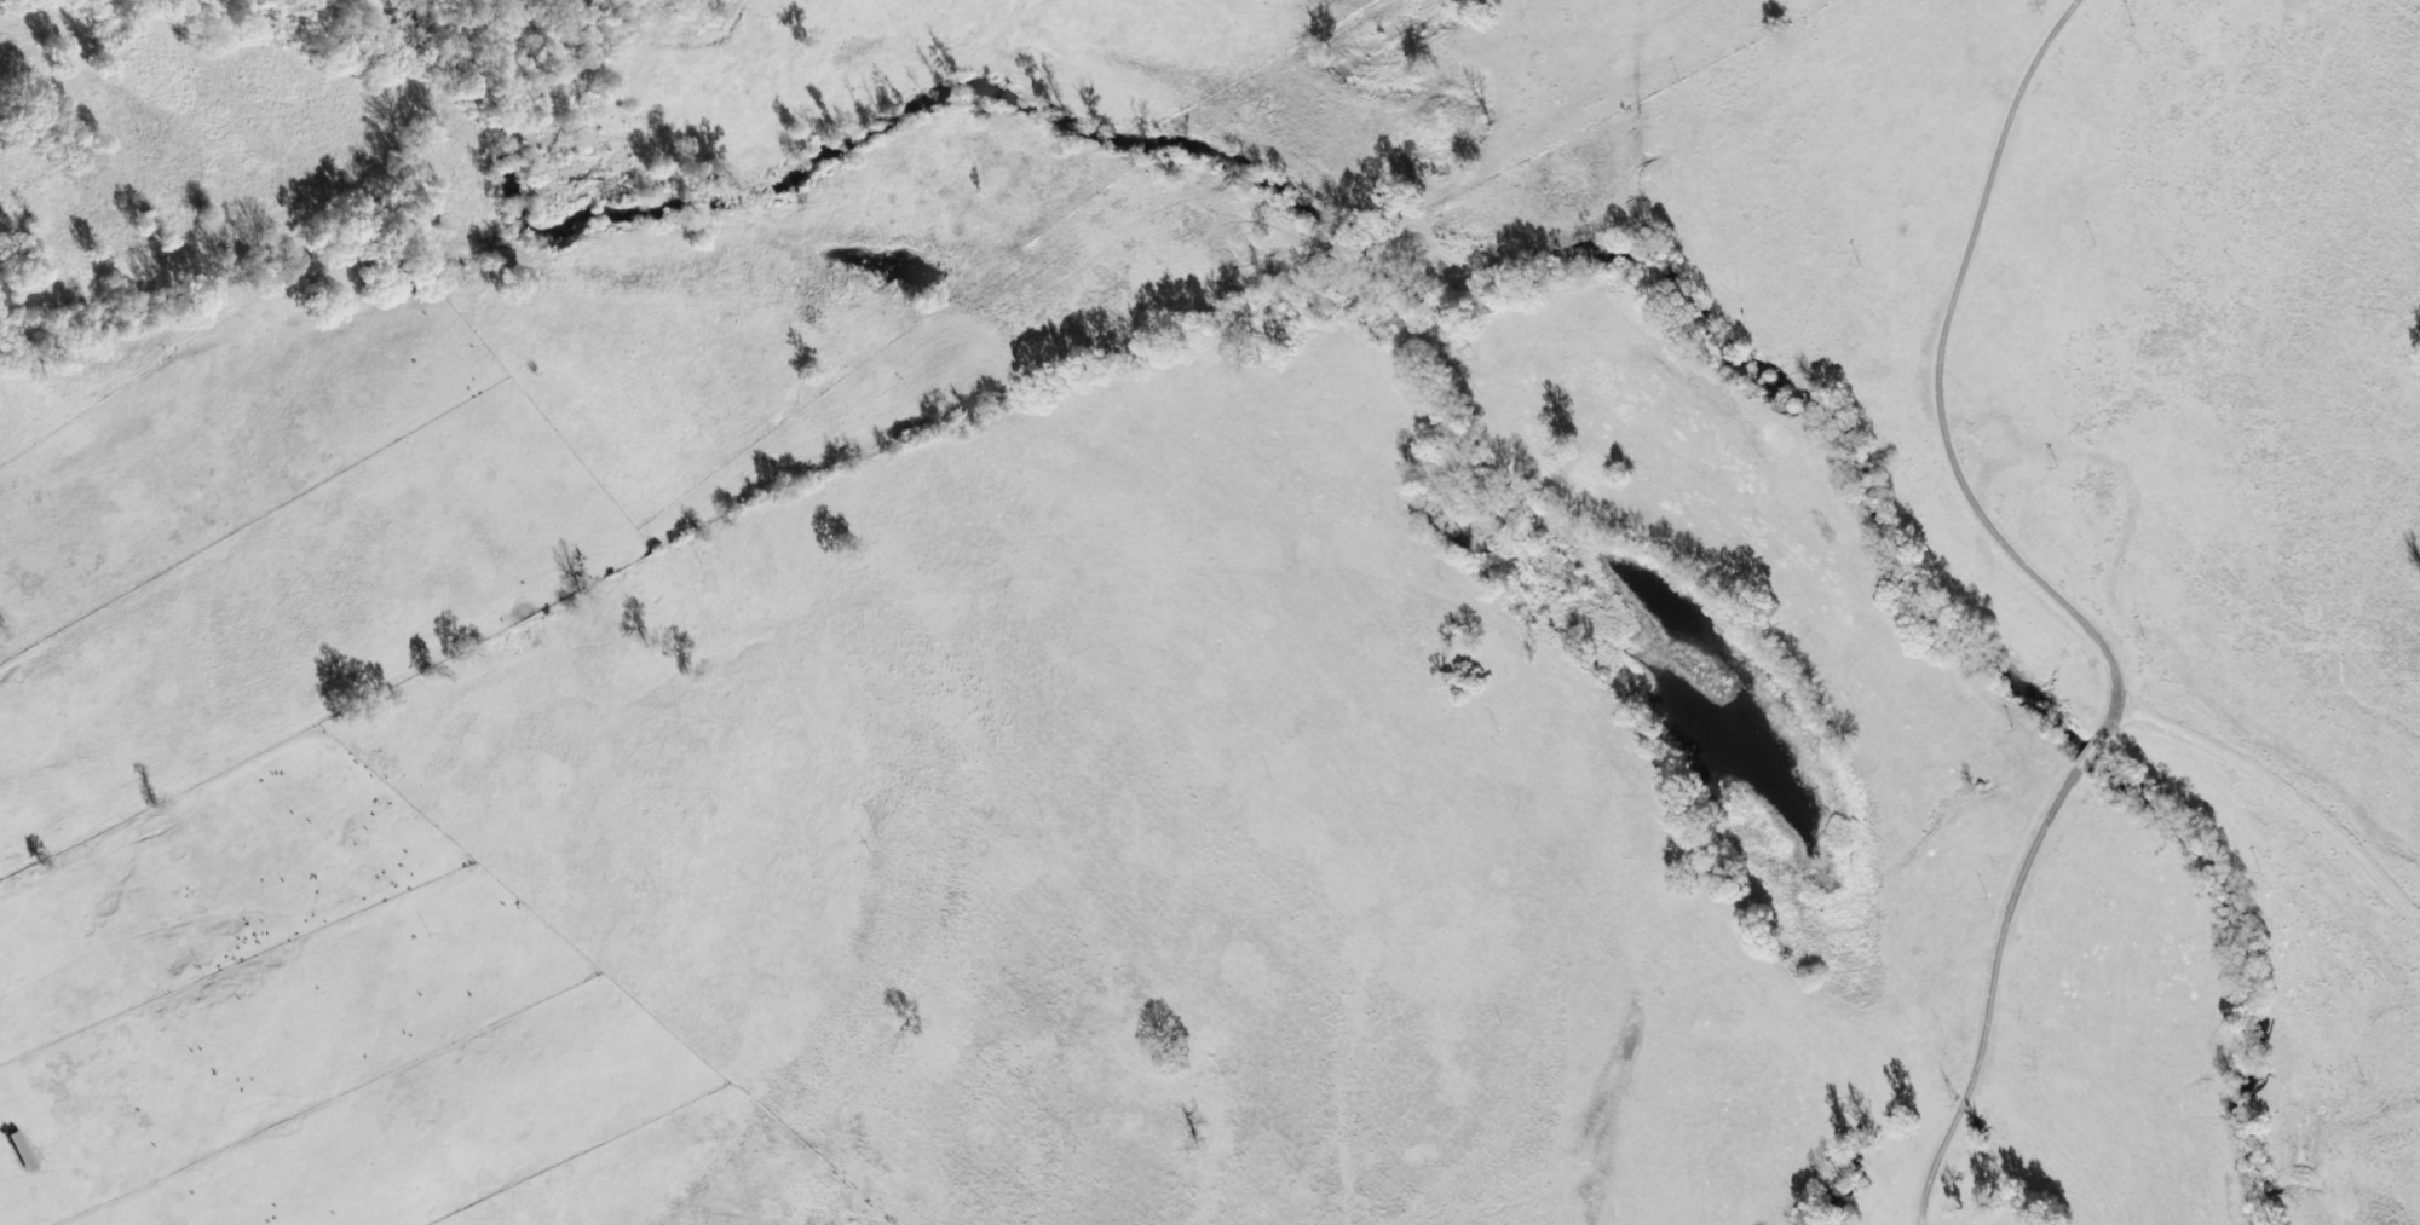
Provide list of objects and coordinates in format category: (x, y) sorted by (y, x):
road: (1980, 1004)

